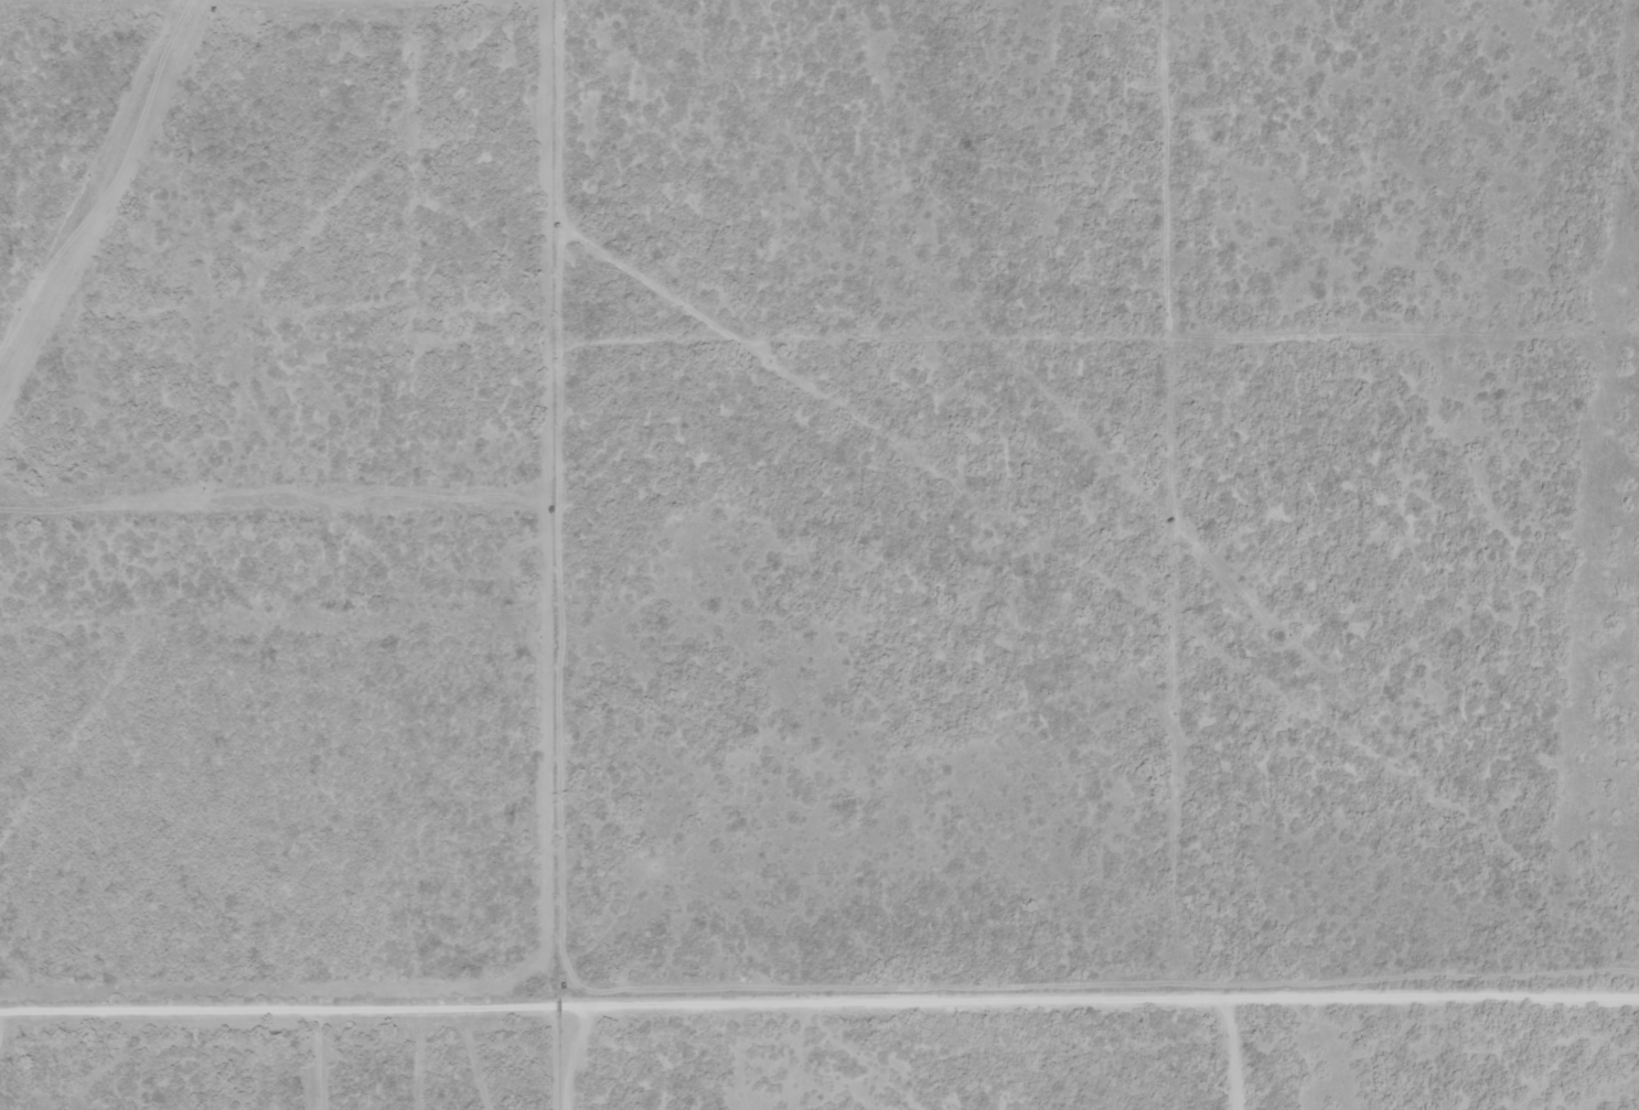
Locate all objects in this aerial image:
road: (641, 993)
road: (1, 1013)

